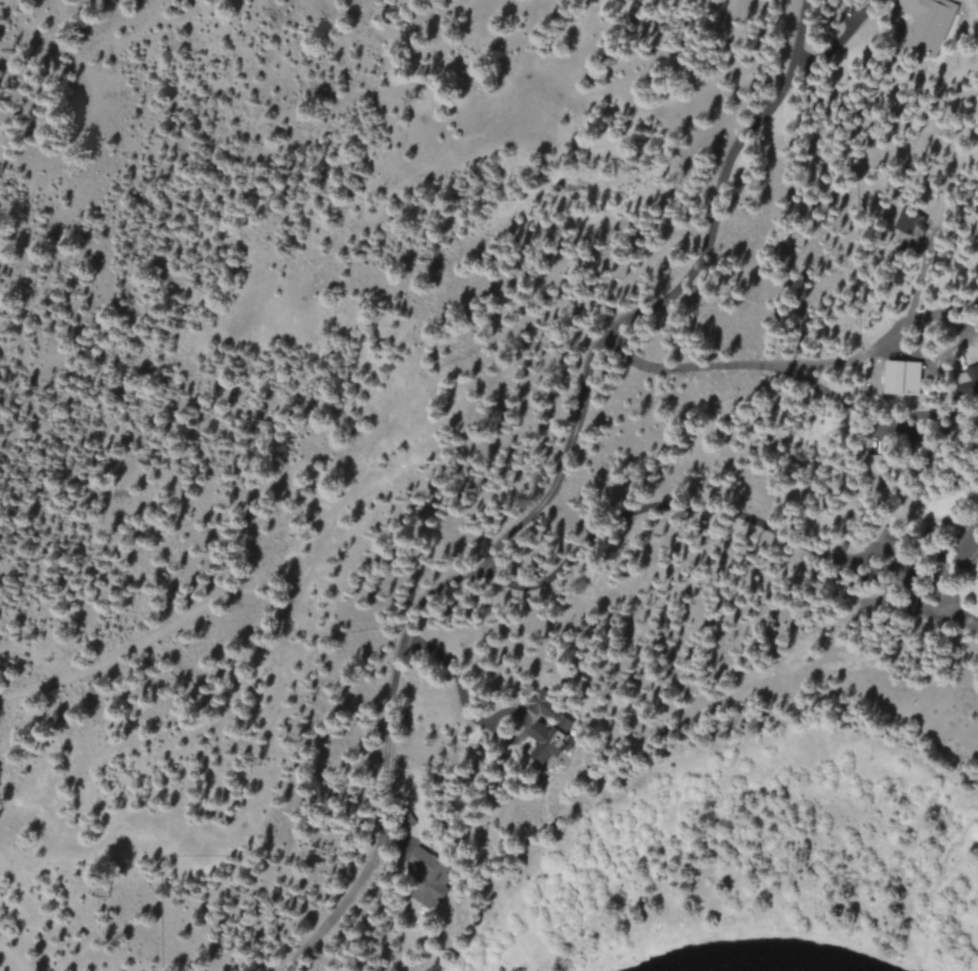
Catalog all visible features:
building: (930, 25)
road: (817, 367)
building: (907, 374)
road: (575, 414)
road: (719, 515)
road: (208, 613)
building: (552, 728)
building: (434, 872)
road: (338, 910)

